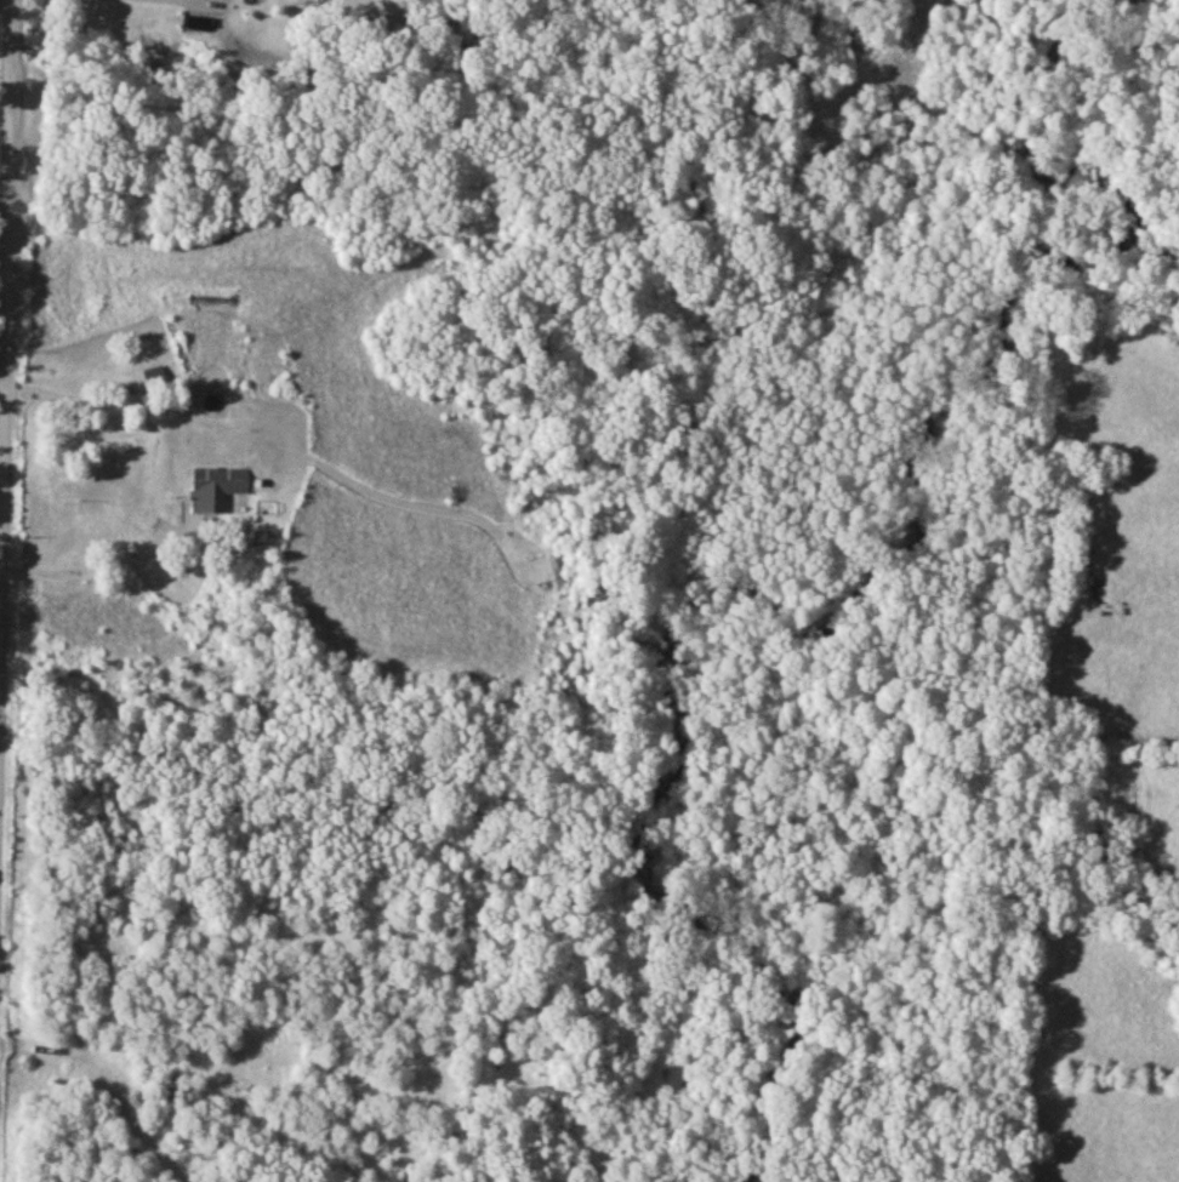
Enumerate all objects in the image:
road: (182, 2)
road: (10, 269)
building: (154, 376)
road: (2, 382)
road: (69, 398)
road: (2, 402)
building: (212, 487)
river: (713, 535)
road: (115, 566)
road: (78, 1055)

